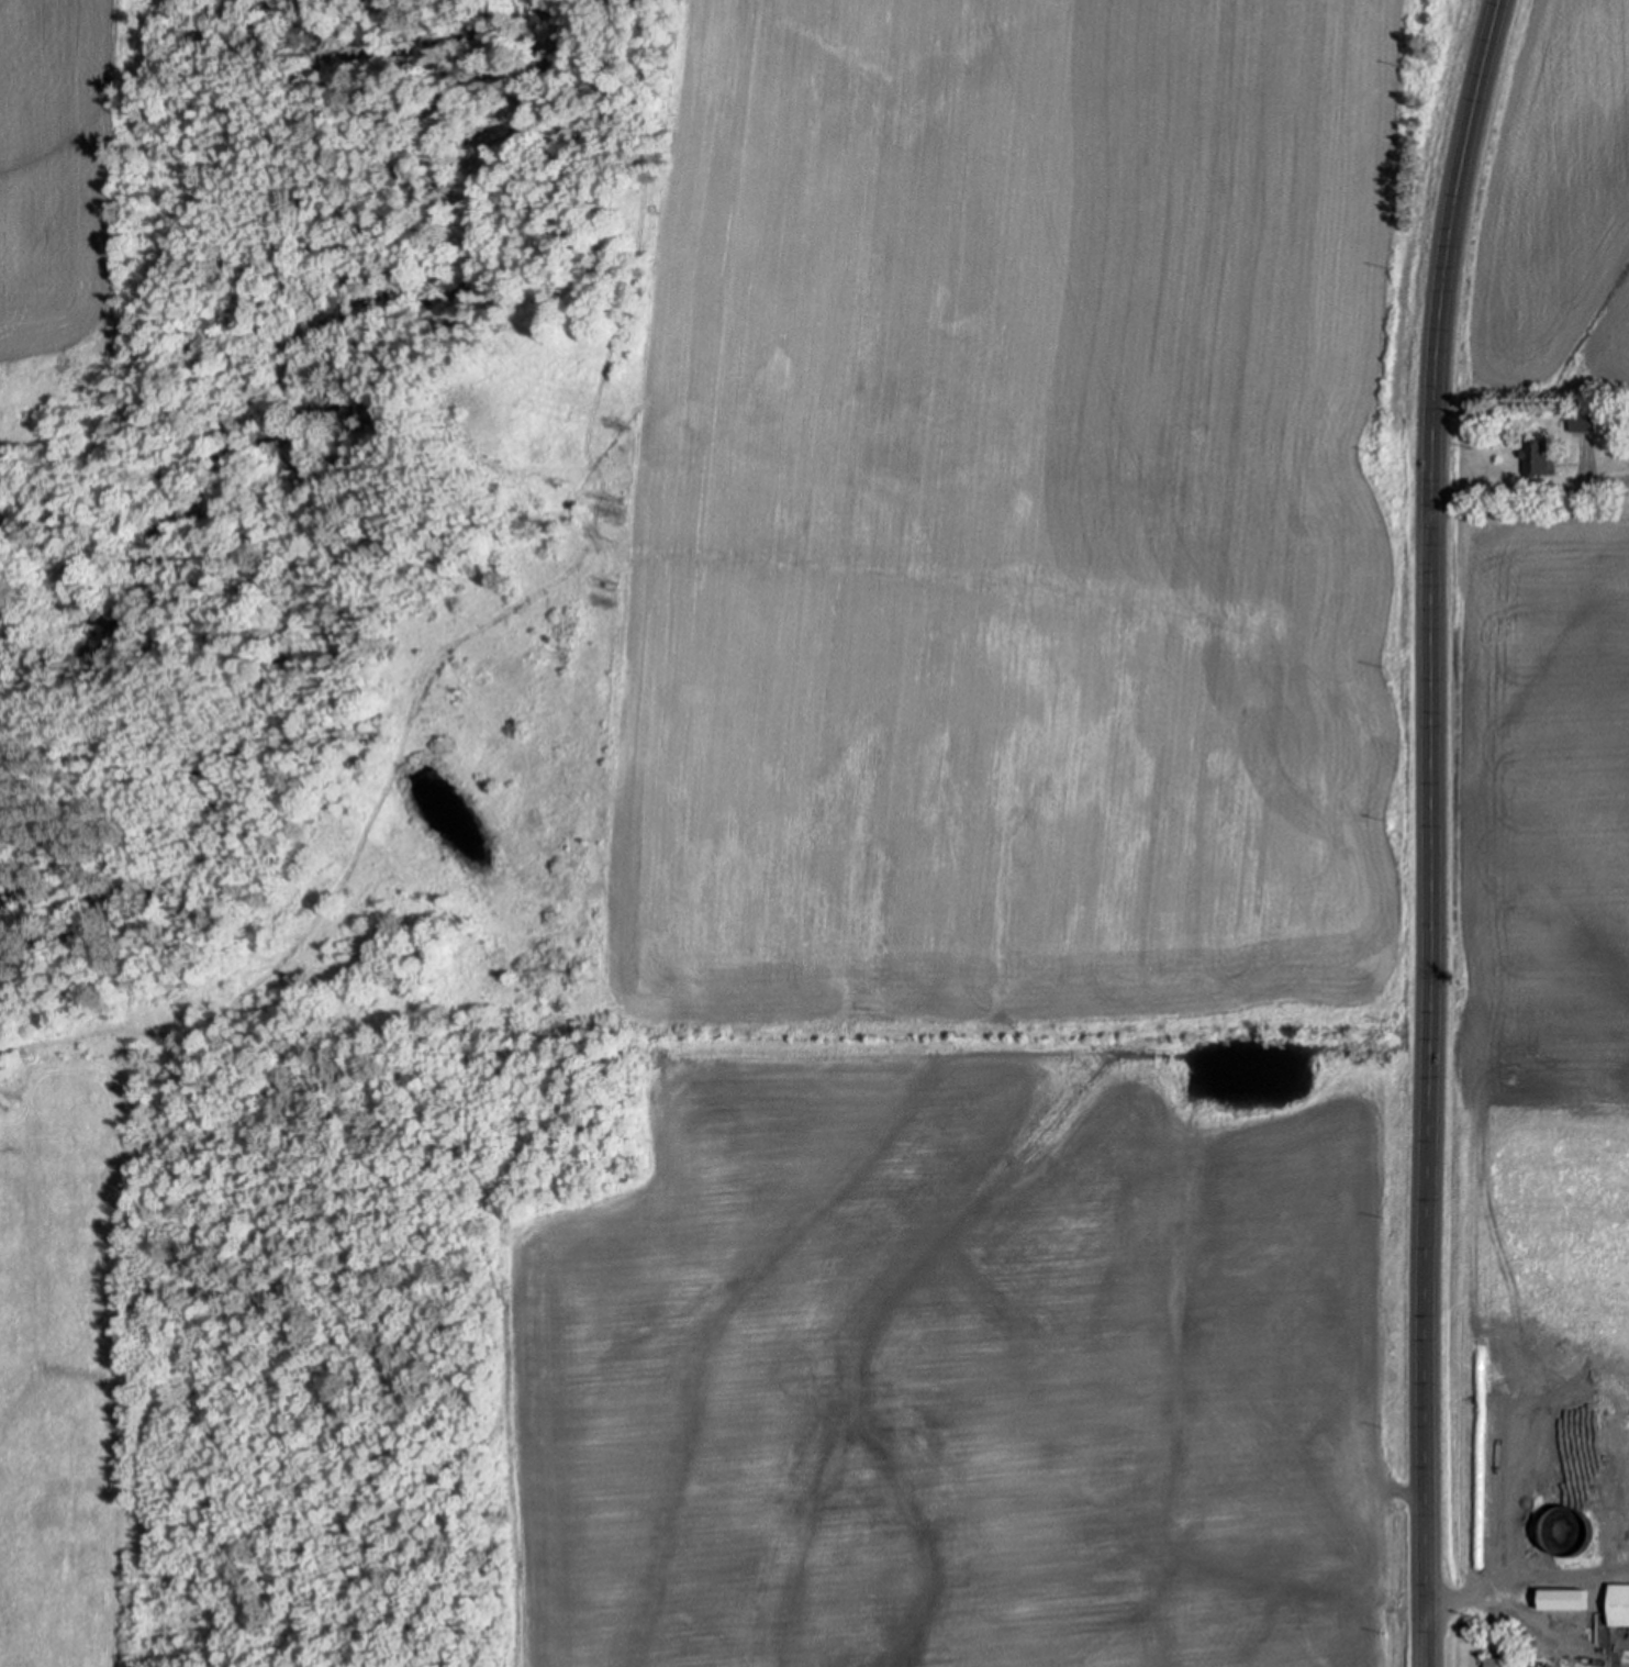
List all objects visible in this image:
building: (1583, 420)
building: (1538, 456)
road: (1431, 830)
building: (1572, 1533)
building: (1620, 1605)
building: (1506, 1663)

